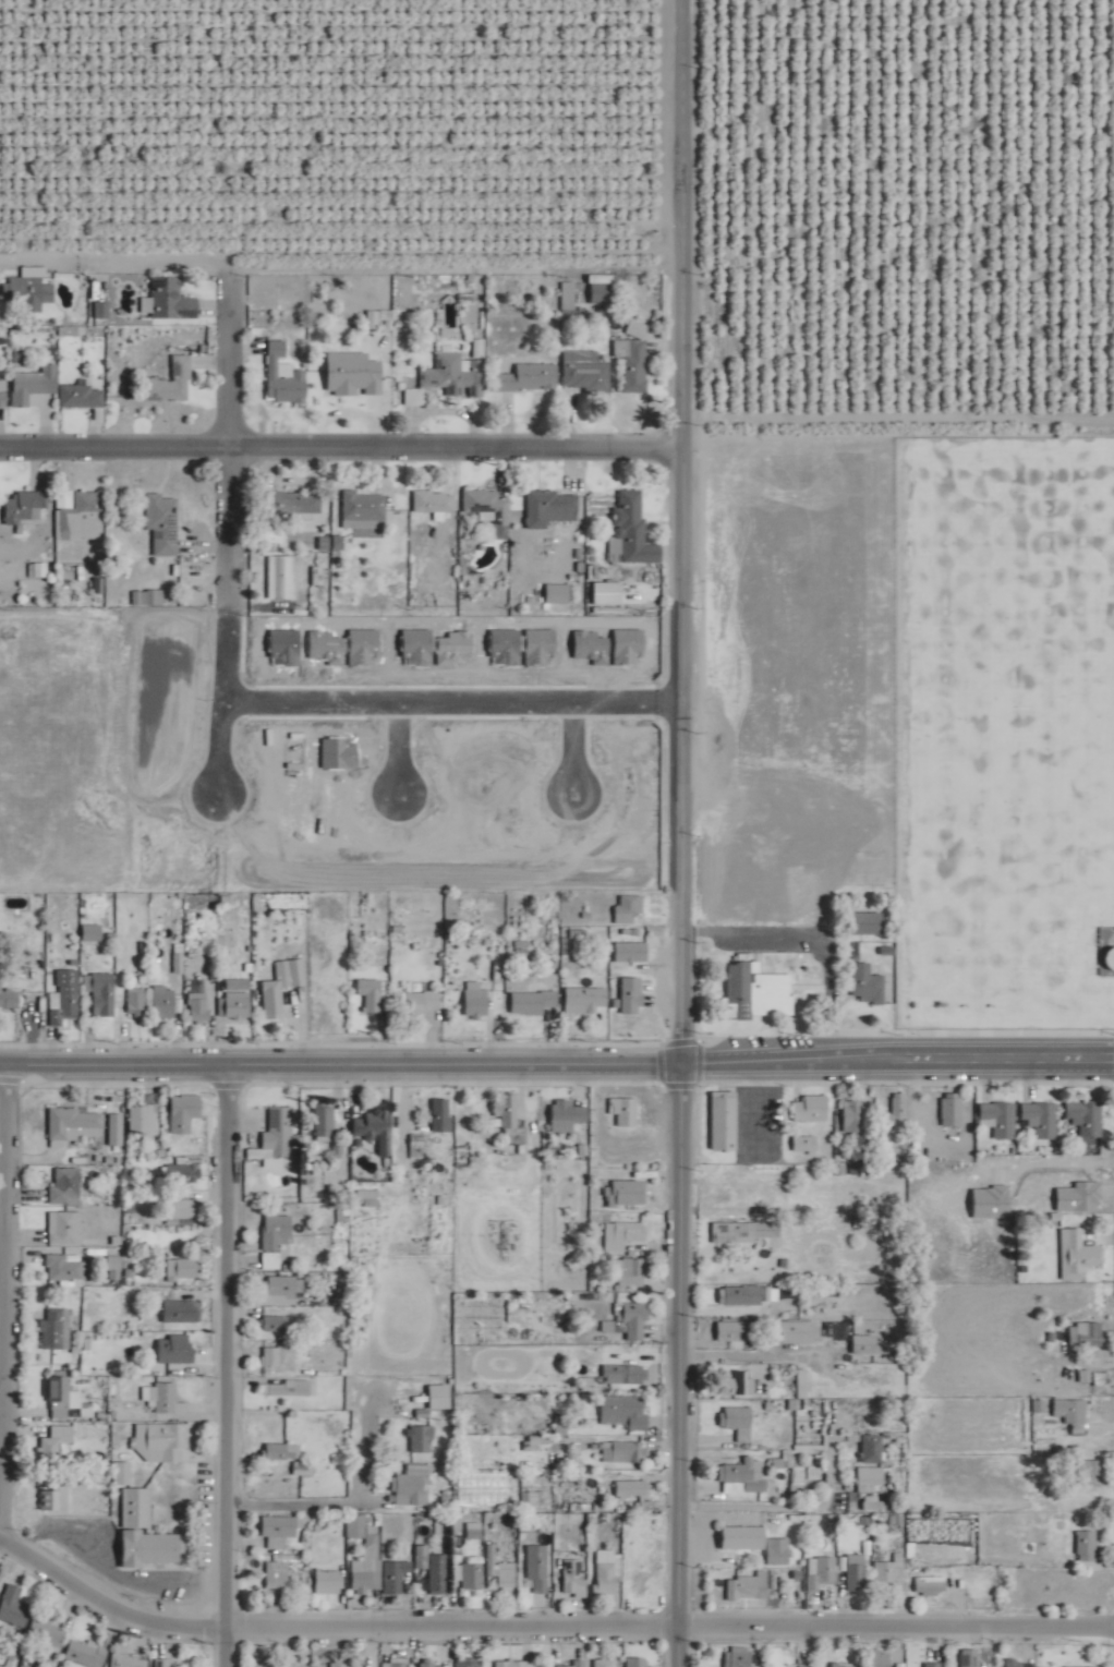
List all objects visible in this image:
crop: (566, 82)
road: (680, 218)
road: (111, 268)
building: (100, 286)
building: (31, 289)
building: (595, 294)
building: (171, 299)
building: (633, 363)
building: (358, 373)
building: (450, 374)
building: (586, 375)
building: (283, 376)
building: (529, 377)
building: (170, 383)
building: (34, 384)
building: (81, 397)
building: (2, 399)
road: (223, 437)
road: (338, 437)
building: (434, 502)
building: (296, 504)
building: (364, 507)
building: (23, 508)
building: (489, 508)
building: (550, 508)
building: (81, 516)
building: (162, 523)
building: (632, 529)
building: (281, 578)
road: (676, 742)
building: (630, 907)
building: (867, 922)
building: (92, 932)
road: (801, 945)
building: (630, 952)
building: (175, 963)
building: (867, 983)
building: (282, 986)
building: (756, 991)
building: (371, 993)
building: (102, 995)
building: (631, 995)
building: (586, 996)
building: (235, 999)
building: (416, 1001)
building: (475, 1001)
building: (532, 1001)
building: (136, 1002)
building: (164, 1003)
building: (63, 1006)
building: (199, 1007)
road: (557, 1050)
road: (0, 1064)
building: (811, 1108)
building: (952, 1110)
building: (626, 1111)
building: (184, 1112)
building: (566, 1115)
building: (443, 1116)
building: (896, 1116)
building: (1086, 1118)
building: (145, 1119)
building: (1000, 1119)
building: (1041, 1119)
building: (724, 1120)
building: (326, 1122)
building: (510, 1122)
building: (76, 1123)
building: (380, 1126)
building: (276, 1138)
building: (804, 1145)
building: (415, 1152)
building: (180, 1174)
building: (66, 1186)
building: (626, 1193)
building: (813, 1198)
building: (182, 1209)
building: (66, 1228)
building: (734, 1233)
building: (623, 1235)
building: (276, 1240)
building: (1078, 1255)
building: (63, 1269)
building: (183, 1270)
building: (631, 1272)
building: (282, 1290)
building: (747, 1295)
building: (182, 1312)
building: (632, 1320)
building: (276, 1325)
building: (52, 1330)
building: (731, 1332)
building: (798, 1332)
building: (1086, 1334)
building: (863, 1345)
building: (175, 1349)
building: (271, 1356)
road: (674, 1357)
road: (223, 1358)
building: (625, 1374)
building: (737, 1385)
building: (802, 1385)
building: (288, 1388)
building: (58, 1393)
building: (433, 1393)
building: (165, 1398)
building: (78, 1399)
building: (1070, 1411)
building: (625, 1412)
building: (738, 1422)
building: (422, 1439)
building: (56, 1440)
building: (164, 1441)
building: (872, 1449)
building: (282, 1451)
building: (629, 1451)
building: (1089, 1470)
building: (123, 1473)
building: (743, 1476)
building: (871, 1476)
building: (413, 1486)
building: (635, 1494)
building: (57, 1497)
road: (340, 1503)
building: (877, 1503)
building: (280, 1529)
building: (146, 1533)
building: (741, 1537)
building: (1087, 1546)
building: (373, 1547)
building: (778, 1551)
building: (474, 1556)
building: (538, 1567)
building: (821, 1572)
building: (856, 1572)
building: (440, 1573)
building: (277, 1574)
building: (506, 1574)
building: (607, 1574)
building: (891, 1574)
building: (396, 1575)
building: (646, 1575)
building: (574, 1577)
building: (362, 1581)
building: (328, 1582)
building: (755, 1586)
building: (931, 1586)
building: (14, 1606)
road: (545, 1617)
building: (47, 1634)
building: (86, 1654)
building: (739, 1657)
building: (970, 1657)
building: (879, 1658)
building: (130, 1660)
building: (917, 1660)
building: (470, 1662)
building: (638, 1662)
building: (164, 1663)
building: (341, 1663)
building: (397, 1663)
building: (604, 1663)
building: (265, 1664)
building: (516, 1664)
building: (432, 1665)
building: (570, 1665)
building: (843, 1665)

